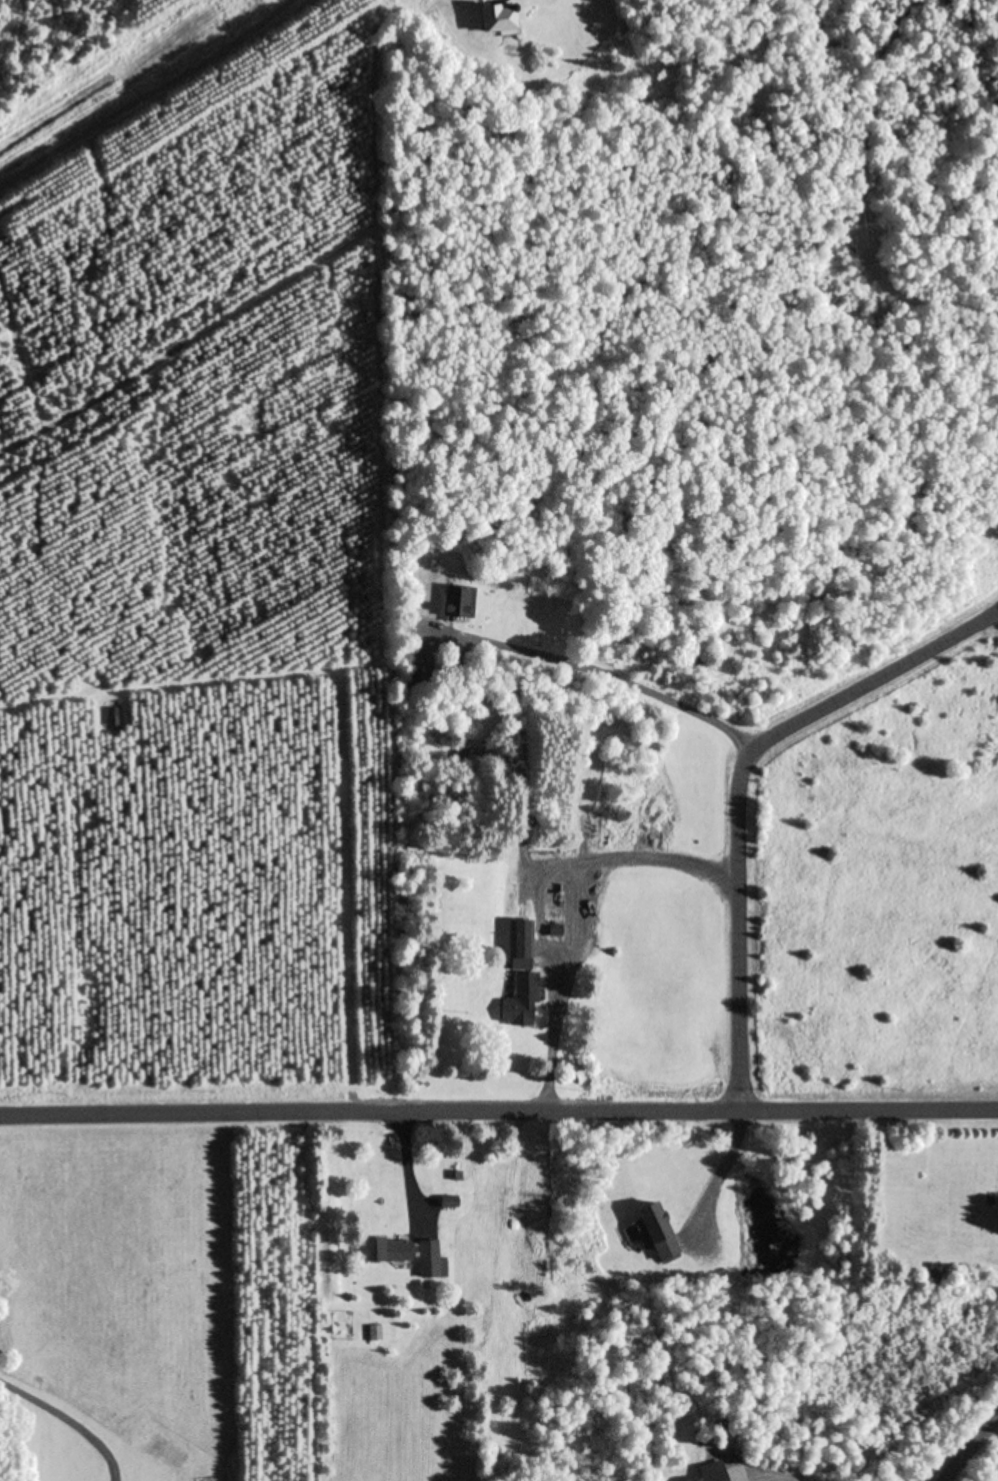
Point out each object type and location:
building: (457, 602)
road: (739, 786)
building: (520, 980)
road: (499, 1109)
building: (655, 1231)
building: (385, 1251)
building: (429, 1261)
building: (934, 1274)
building: (374, 1333)
road: (967, 1448)
building: (710, 1472)

